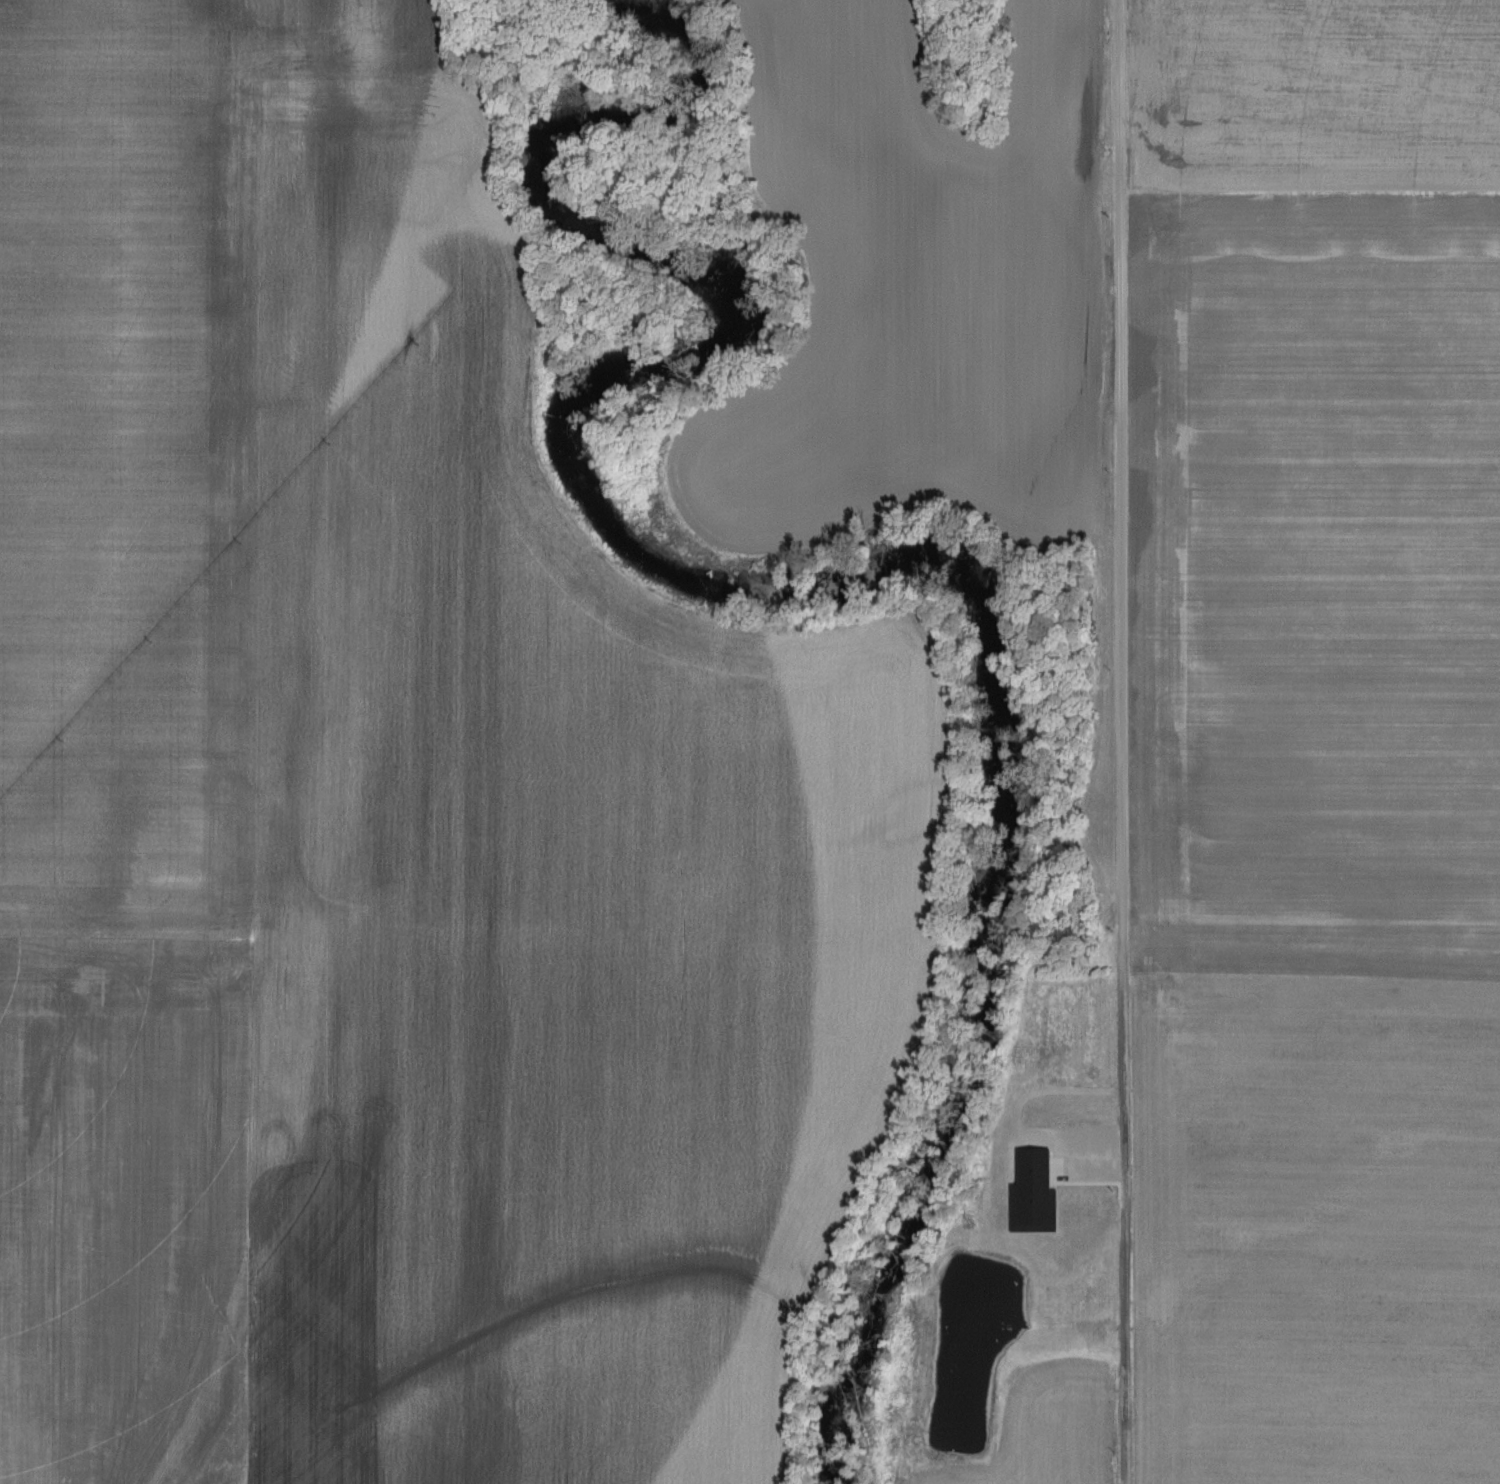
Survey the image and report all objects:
road: (1119, 742)
road: (1058, 1092)
building: (1004, 1139)
building: (1056, 1140)
road: (1062, 1196)
building: (1013, 1212)

